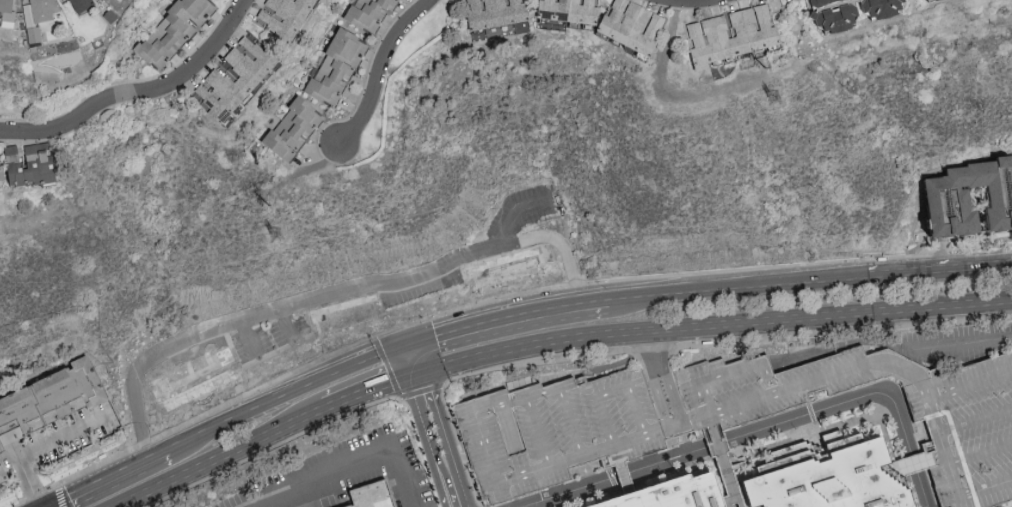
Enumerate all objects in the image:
building: (81, 4)
road: (687, 8)
building: (570, 9)
building: (851, 11)
building: (369, 12)
building: (495, 12)
building: (7, 13)
building: (285, 15)
building: (39, 17)
building: (632, 24)
building: (174, 29)
building: (756, 36)
building: (337, 65)
road: (377, 65)
power tower: (766, 68)
building: (249, 77)
road: (141, 96)
power tower: (775, 99)
building: (293, 128)
building: (30, 163)
building: (949, 196)
power tower: (272, 206)
power tower: (279, 236)
road: (563, 246)
road: (428, 271)
road: (940, 271)
road: (814, 284)
road: (683, 297)
road: (277, 307)
building: (346, 315)
road: (508, 319)
road: (714, 322)
road: (961, 339)
traffic signals: (412, 346)
road: (161, 355)
road: (416, 359)
traffic signals: (420, 372)
building: (974, 376)
road: (662, 379)
building: (193, 384)
road: (370, 388)
road: (287, 393)
building: (51, 397)
parking lot: (969, 426)
road: (761, 430)
parking lot: (555, 431)
road: (449, 437)
building: (484, 439)
road: (428, 440)
building: (4, 444)
road: (41, 446)
road: (220, 456)
road: (351, 461)
building: (828, 477)
building: (3, 478)
road: (111, 479)
building: (671, 494)
building: (370, 496)

